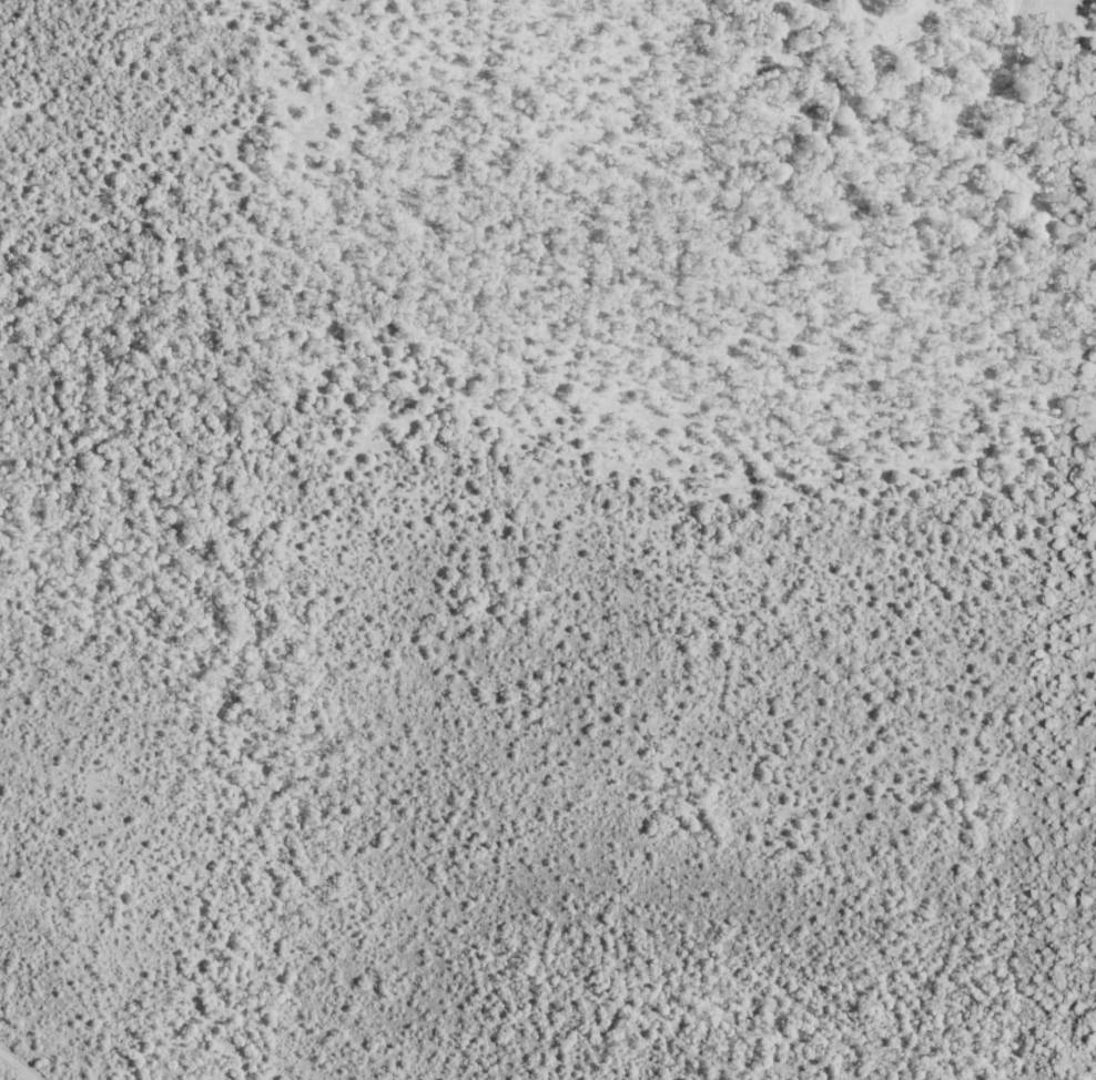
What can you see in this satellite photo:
road: (941, 126)

